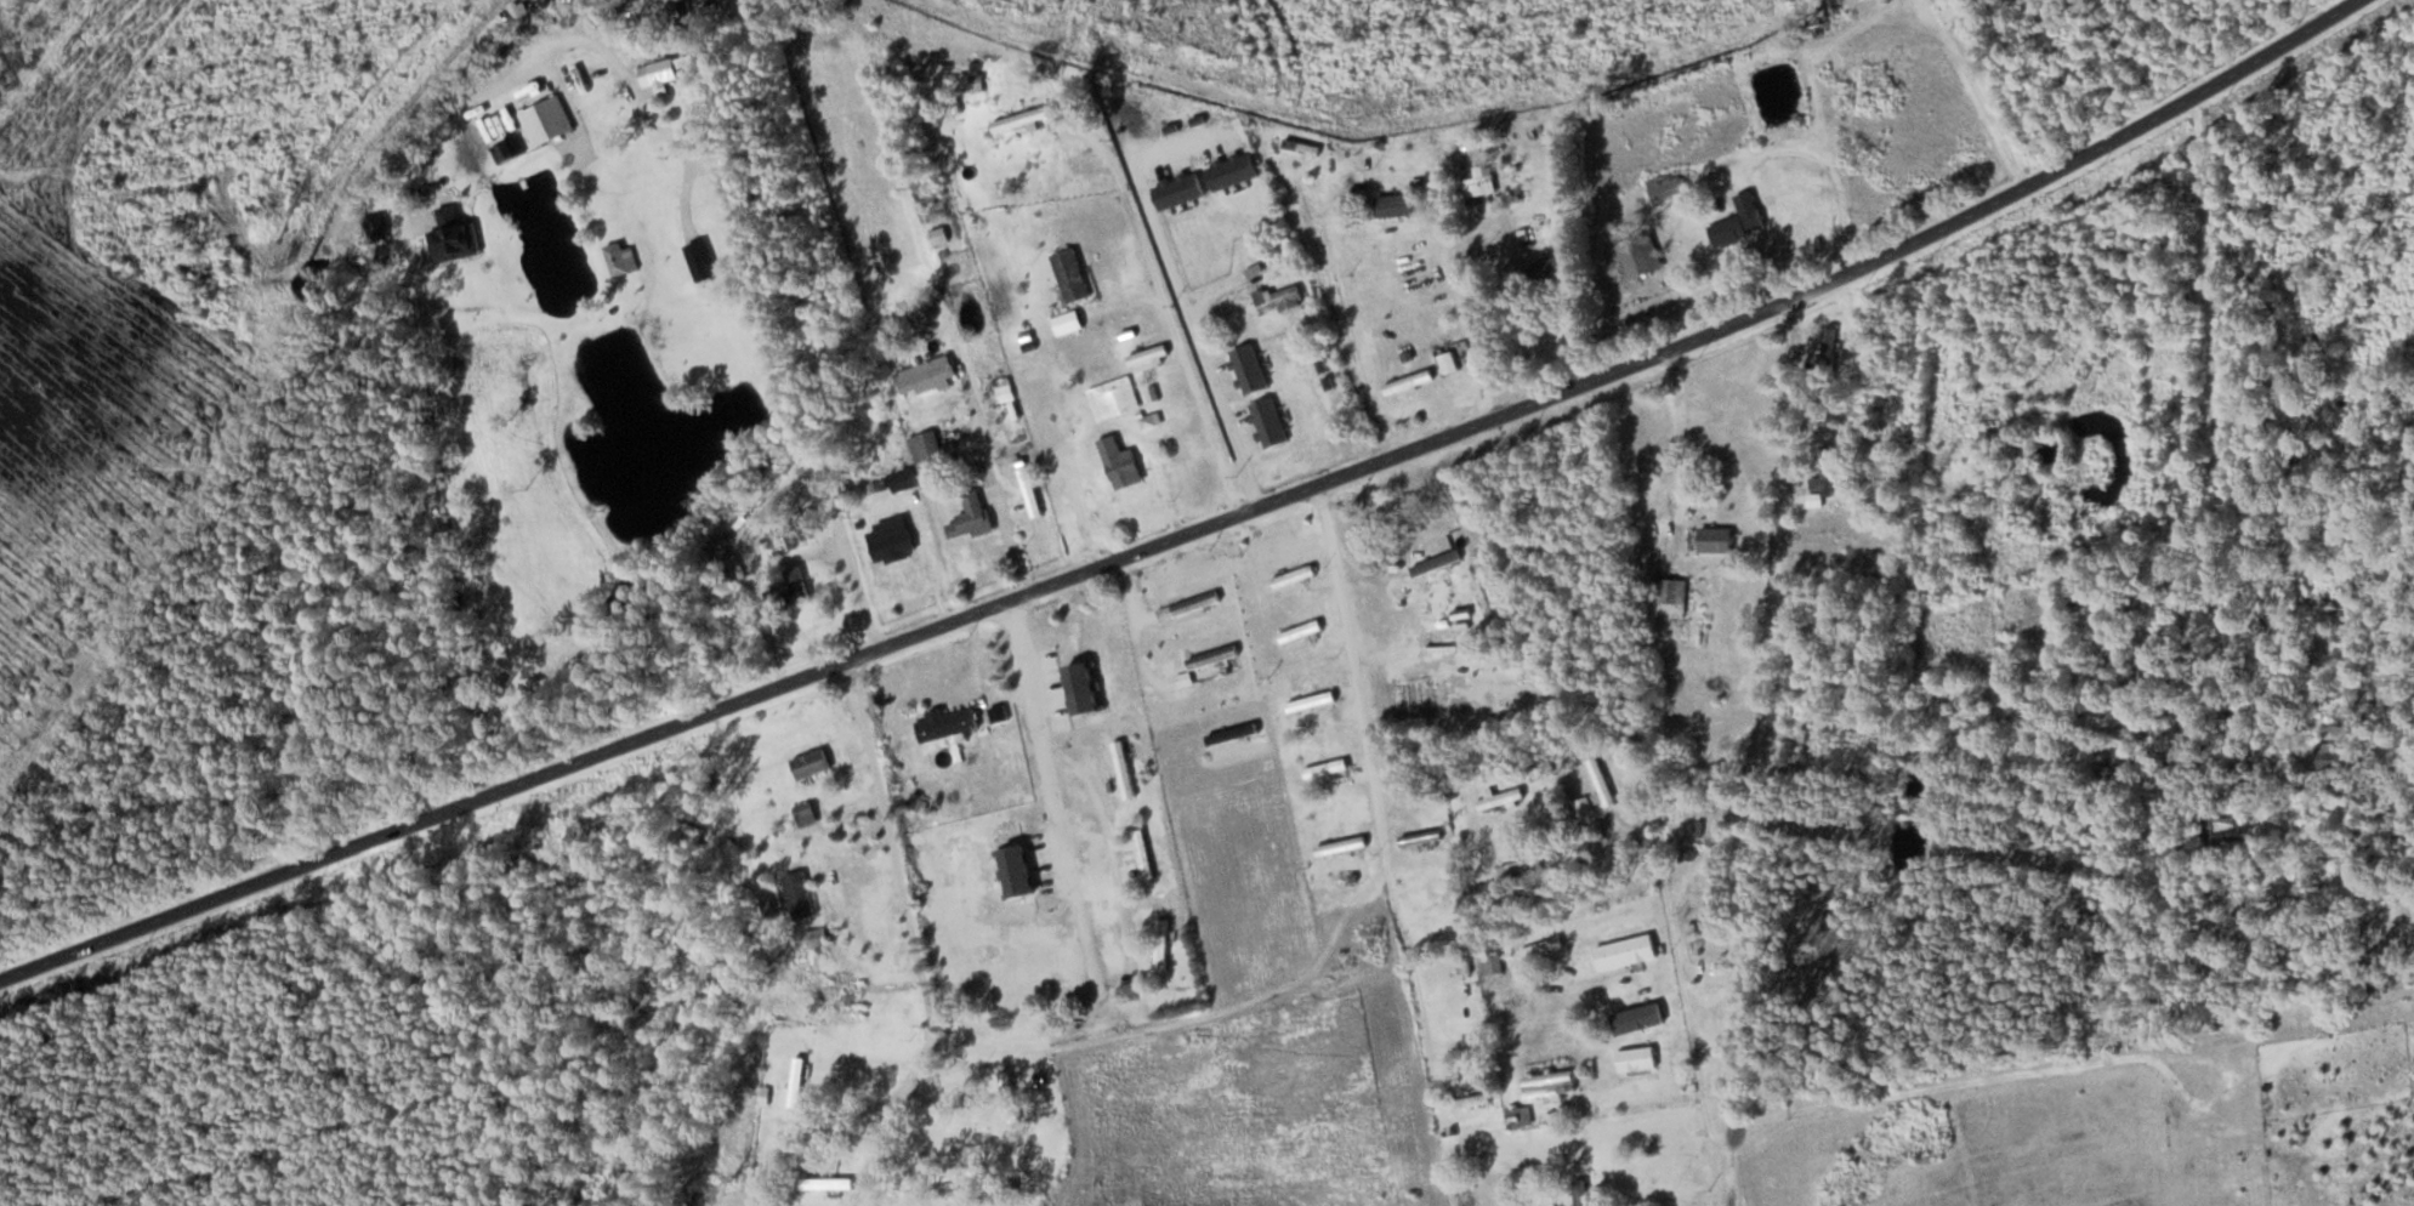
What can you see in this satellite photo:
building: (1821, 28)
building: (669, 69)
building: (1016, 119)
building: (545, 120)
crop: (1659, 132)
road: (408, 154)
crop: (857, 157)
building: (1668, 184)
building: (1392, 204)
building: (1738, 221)
building: (453, 235)
road: (750, 251)
building: (1637, 255)
building: (620, 257)
building: (1547, 273)
building: (1070, 274)
building: (1278, 298)
road: (1123, 301)
road: (1165, 307)
building: (1829, 348)
crop: (1086, 358)
building: (1248, 369)
building: (926, 376)
building: (1004, 388)
building: (1113, 398)
crop: (1043, 402)
building: (1010, 421)
building: (1267, 422)
road: (1098, 431)
building: (1176, 449)
building: (927, 451)
building: (1119, 463)
building: (902, 479)
building: (1822, 482)
crop: (527, 499)
road: (454, 508)
building: (970, 516)
road: (1191, 533)
building: (1714, 539)
building: (776, 540)
building: (890, 540)
road: (927, 551)
road: (799, 557)
building: (1293, 575)
building: (789, 588)
building: (2078, 592)
building: (1669, 595)
building: (1192, 603)
road: (1143, 615)
building: (1299, 630)
road: (1135, 632)
building: (1212, 656)
road: (1353, 669)
road: (984, 676)
building: (1080, 688)
parking lot: (1044, 690)
road: (847, 693)
building: (1310, 701)
building: (947, 723)
road: (1043, 741)
building: (1802, 741)
road: (1759, 750)
building: (2338, 758)
building: (810, 763)
building: (1123, 768)
building: (1325, 768)
building: (1601, 780)
building: (1500, 798)
building: (1583, 806)
building: (803, 813)
road: (1102, 820)
building: (2222, 826)
building: (1420, 837)
road: (891, 844)
building: (1520, 864)
building: (1012, 871)
building: (1696, 883)
building: (797, 894)
building: (767, 906)
road: (846, 922)
building: (814, 937)
building: (1160, 944)
building: (1540, 946)
building: (1625, 950)
road: (1132, 954)
building: (1492, 963)
crop: (810, 999)
crop: (1249, 1026)
building: (1636, 1058)
road: (976, 1065)
building: (795, 1081)
building: (763, 1094)
building: (1007, 1096)
building: (1469, 1099)
road: (858, 1109)
building: (1520, 1116)
road: (893, 1122)
building: (956, 1172)
building: (827, 1182)
building: (698, 1193)
road: (877, 1199)
crop: (728, 1201)
road: (984, 1205)

